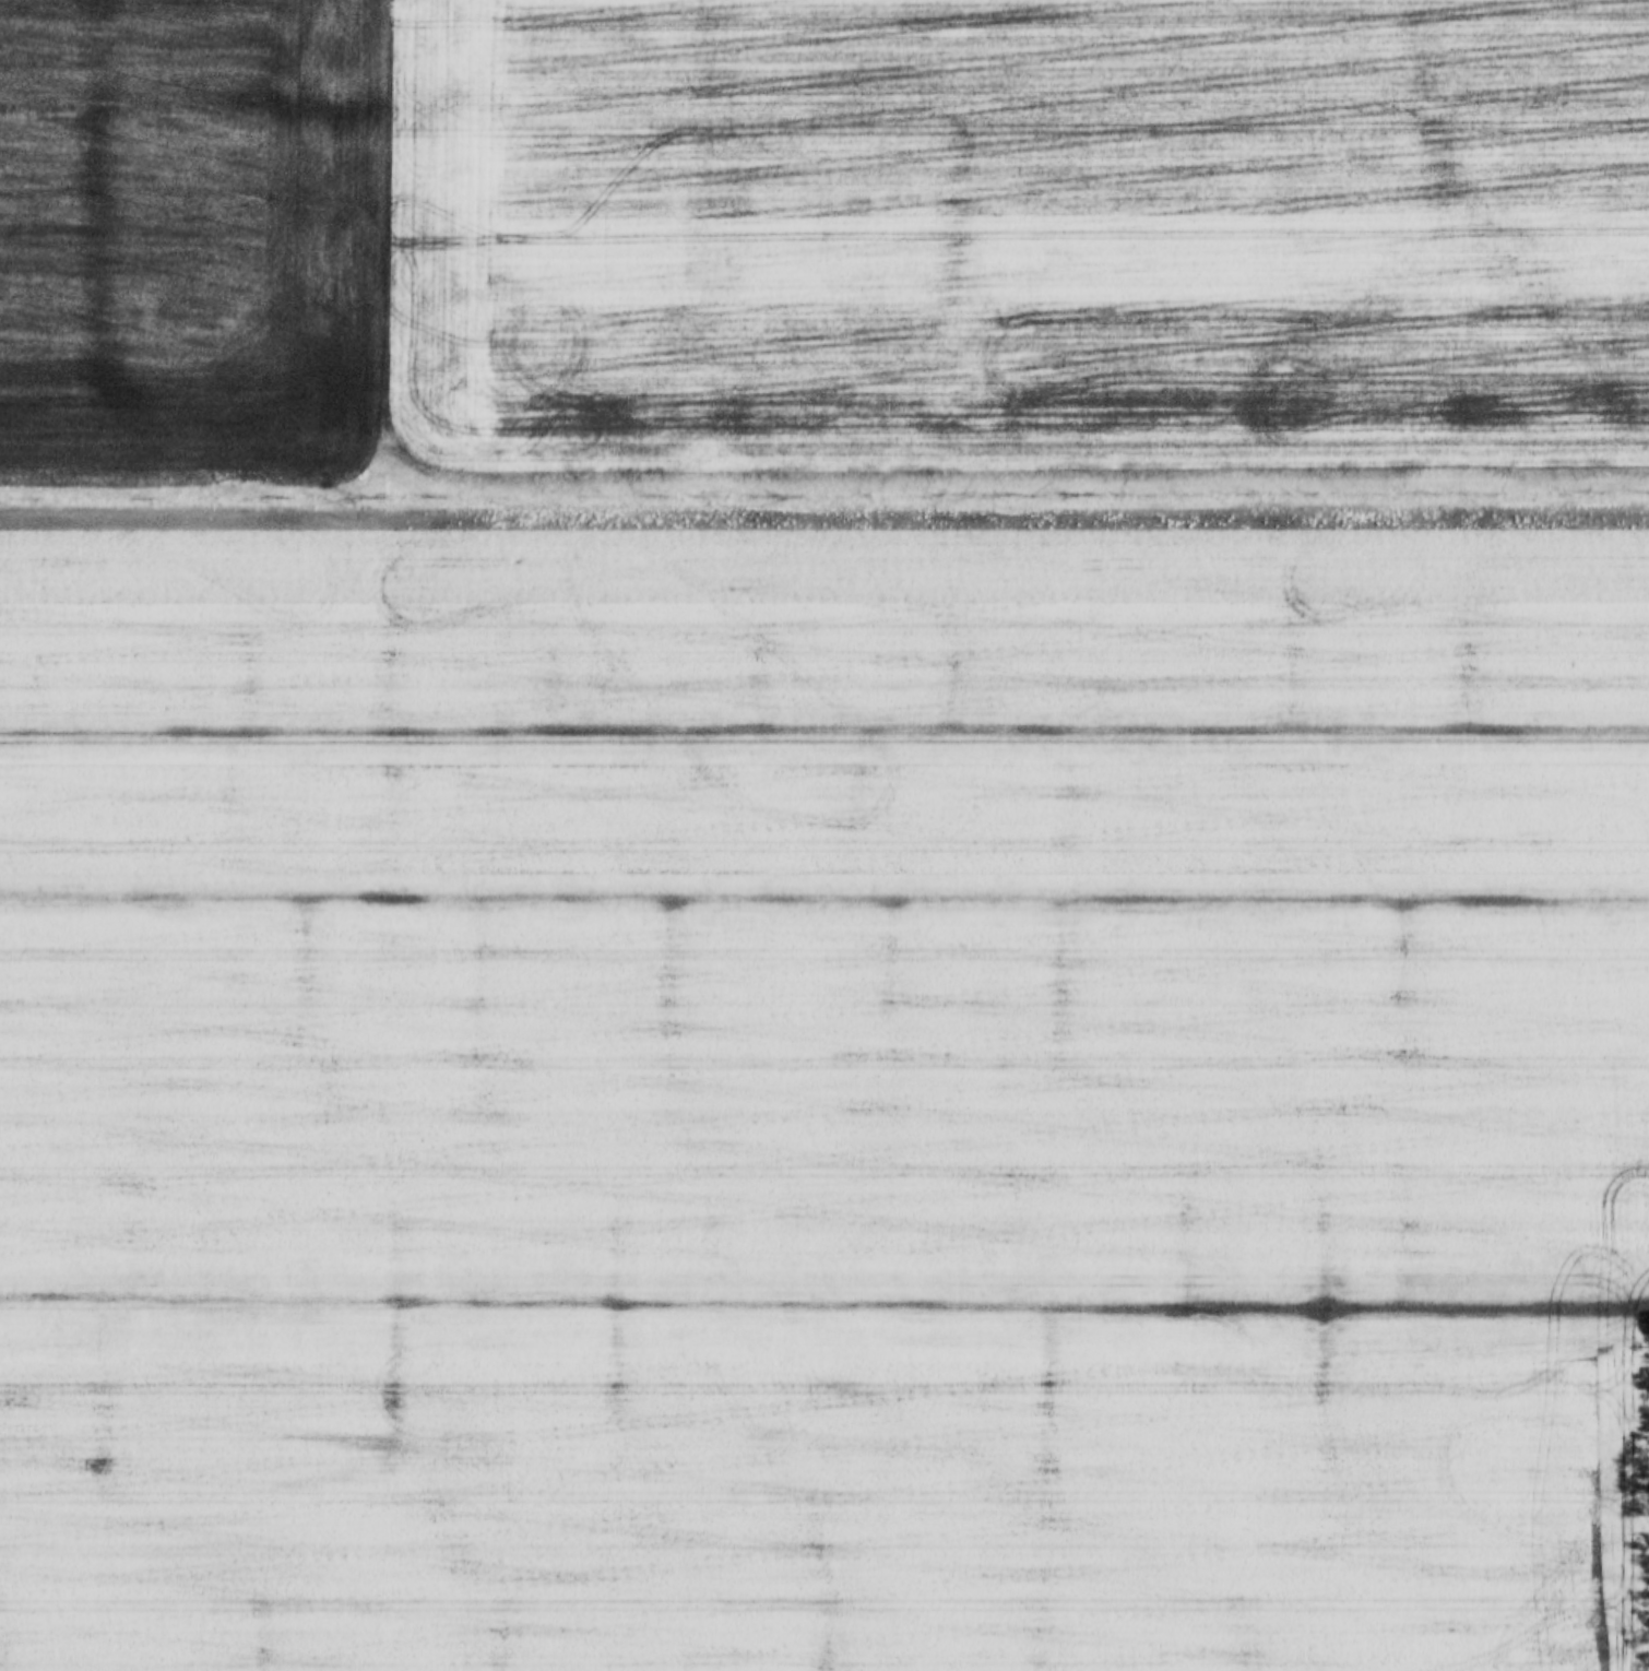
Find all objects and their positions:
crop: (822, 250)
crop: (824, 1086)

